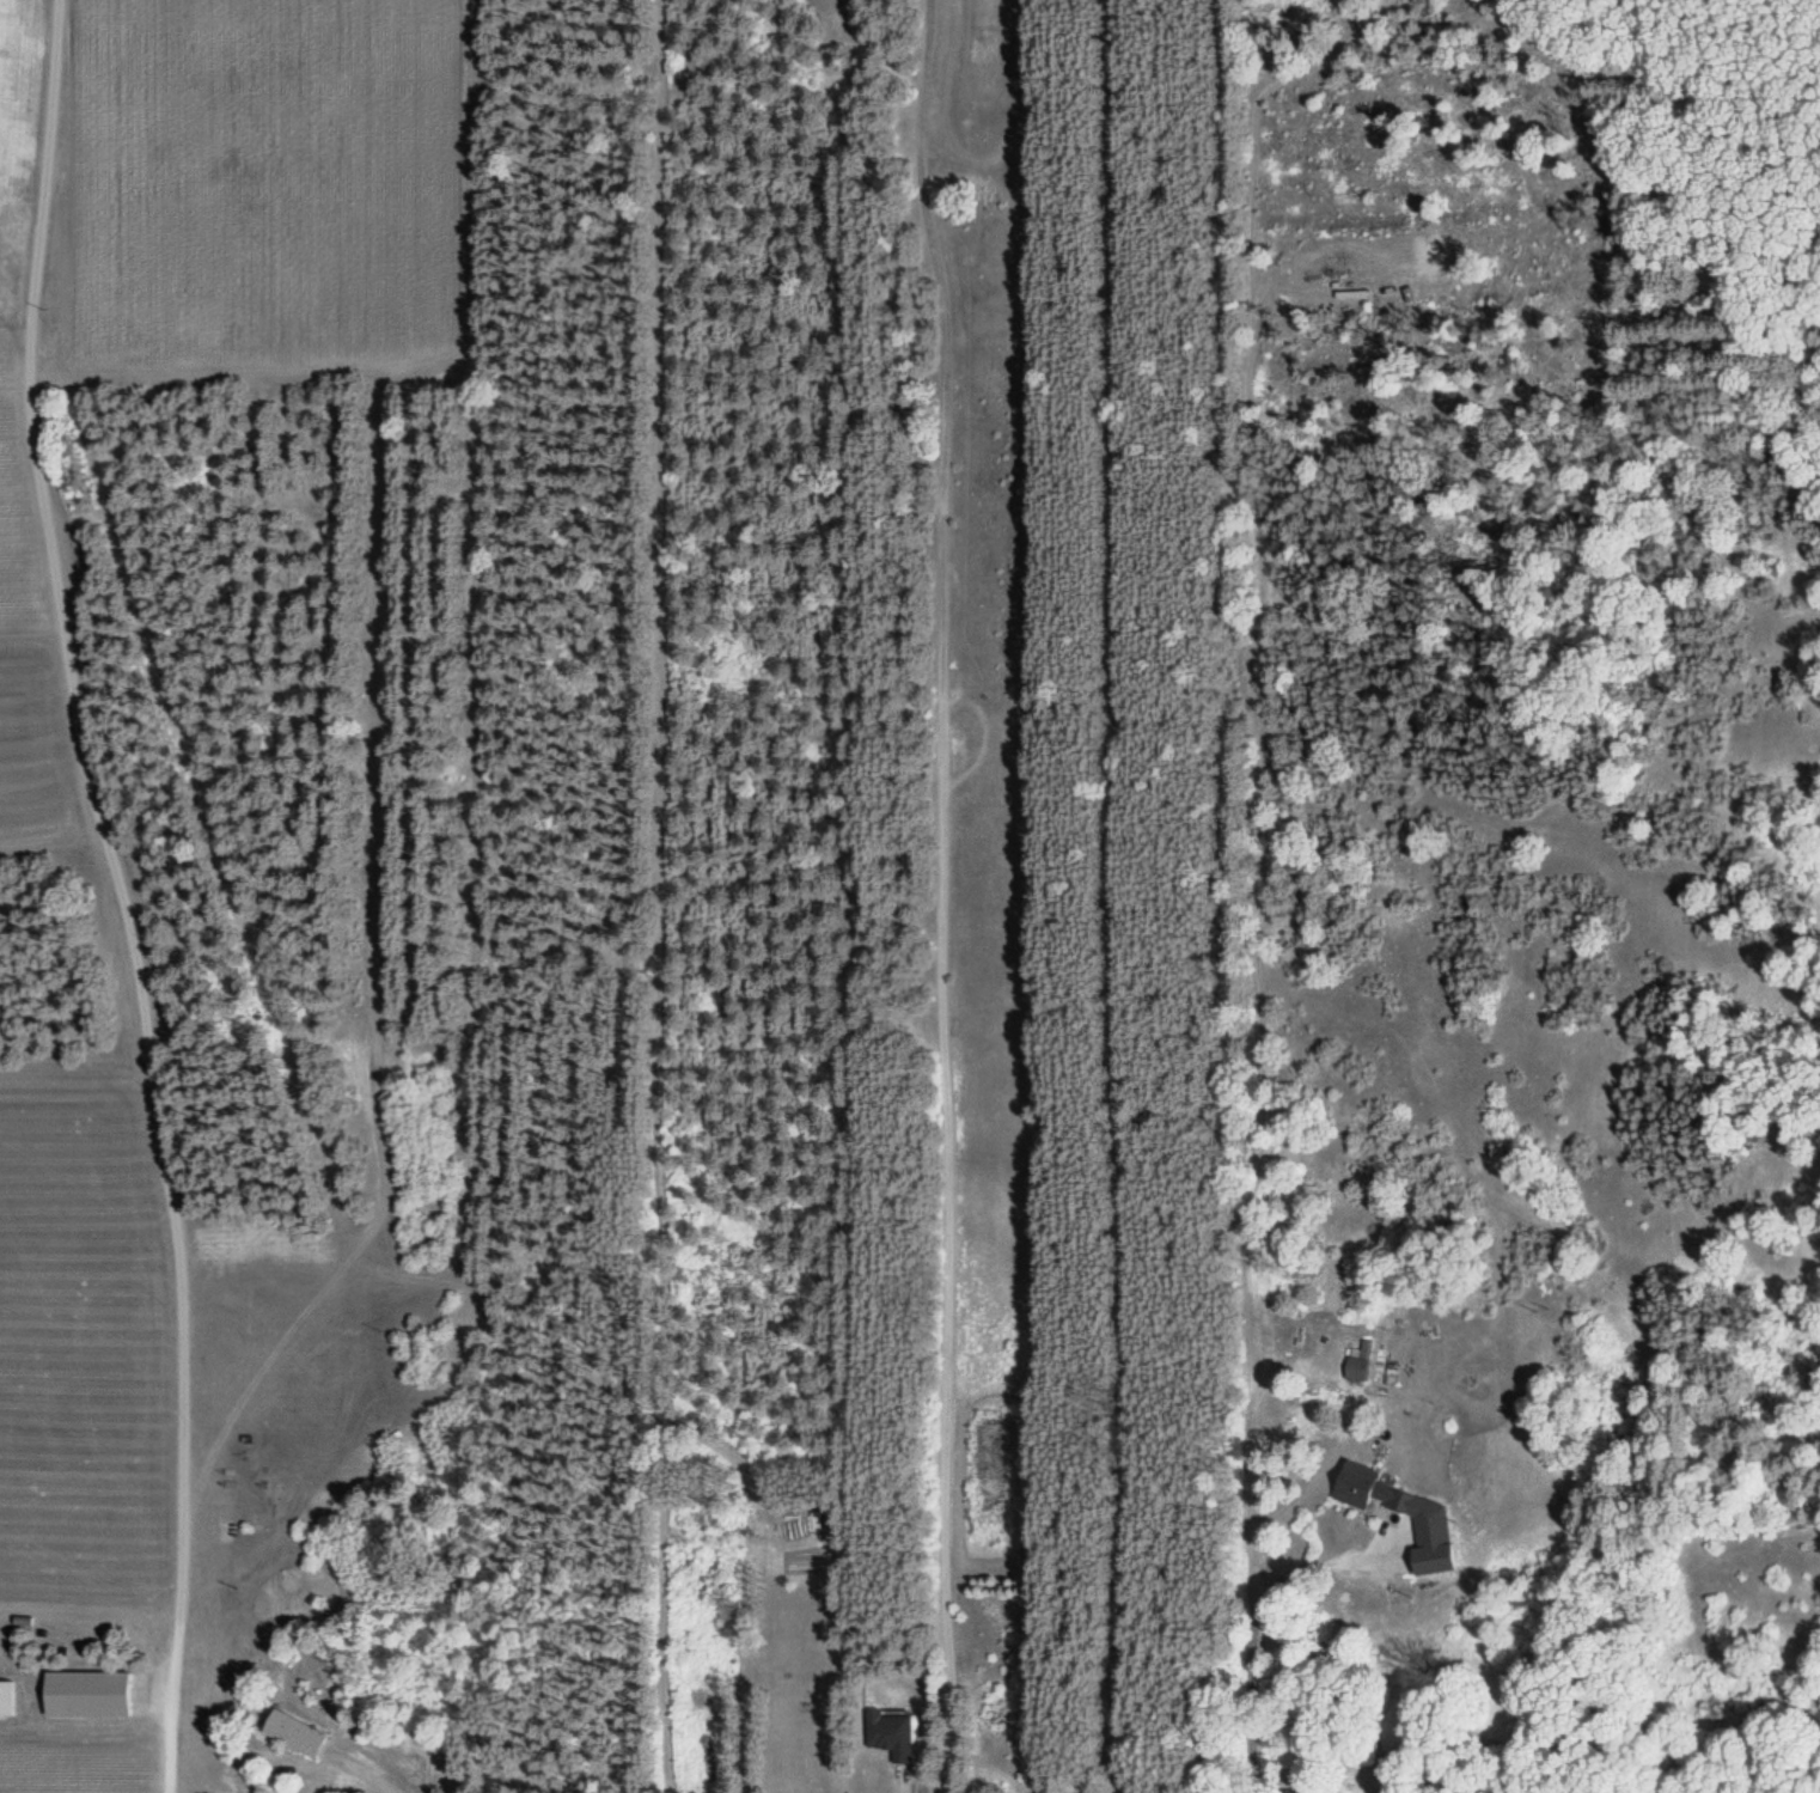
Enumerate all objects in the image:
road: (122, 894)
road: (940, 895)
building: (1356, 1368)
building: (1369, 1489)
building: (96, 1695)
building: (8, 1699)
building: (293, 1734)
building: (892, 1736)
building: (1295, 1791)

